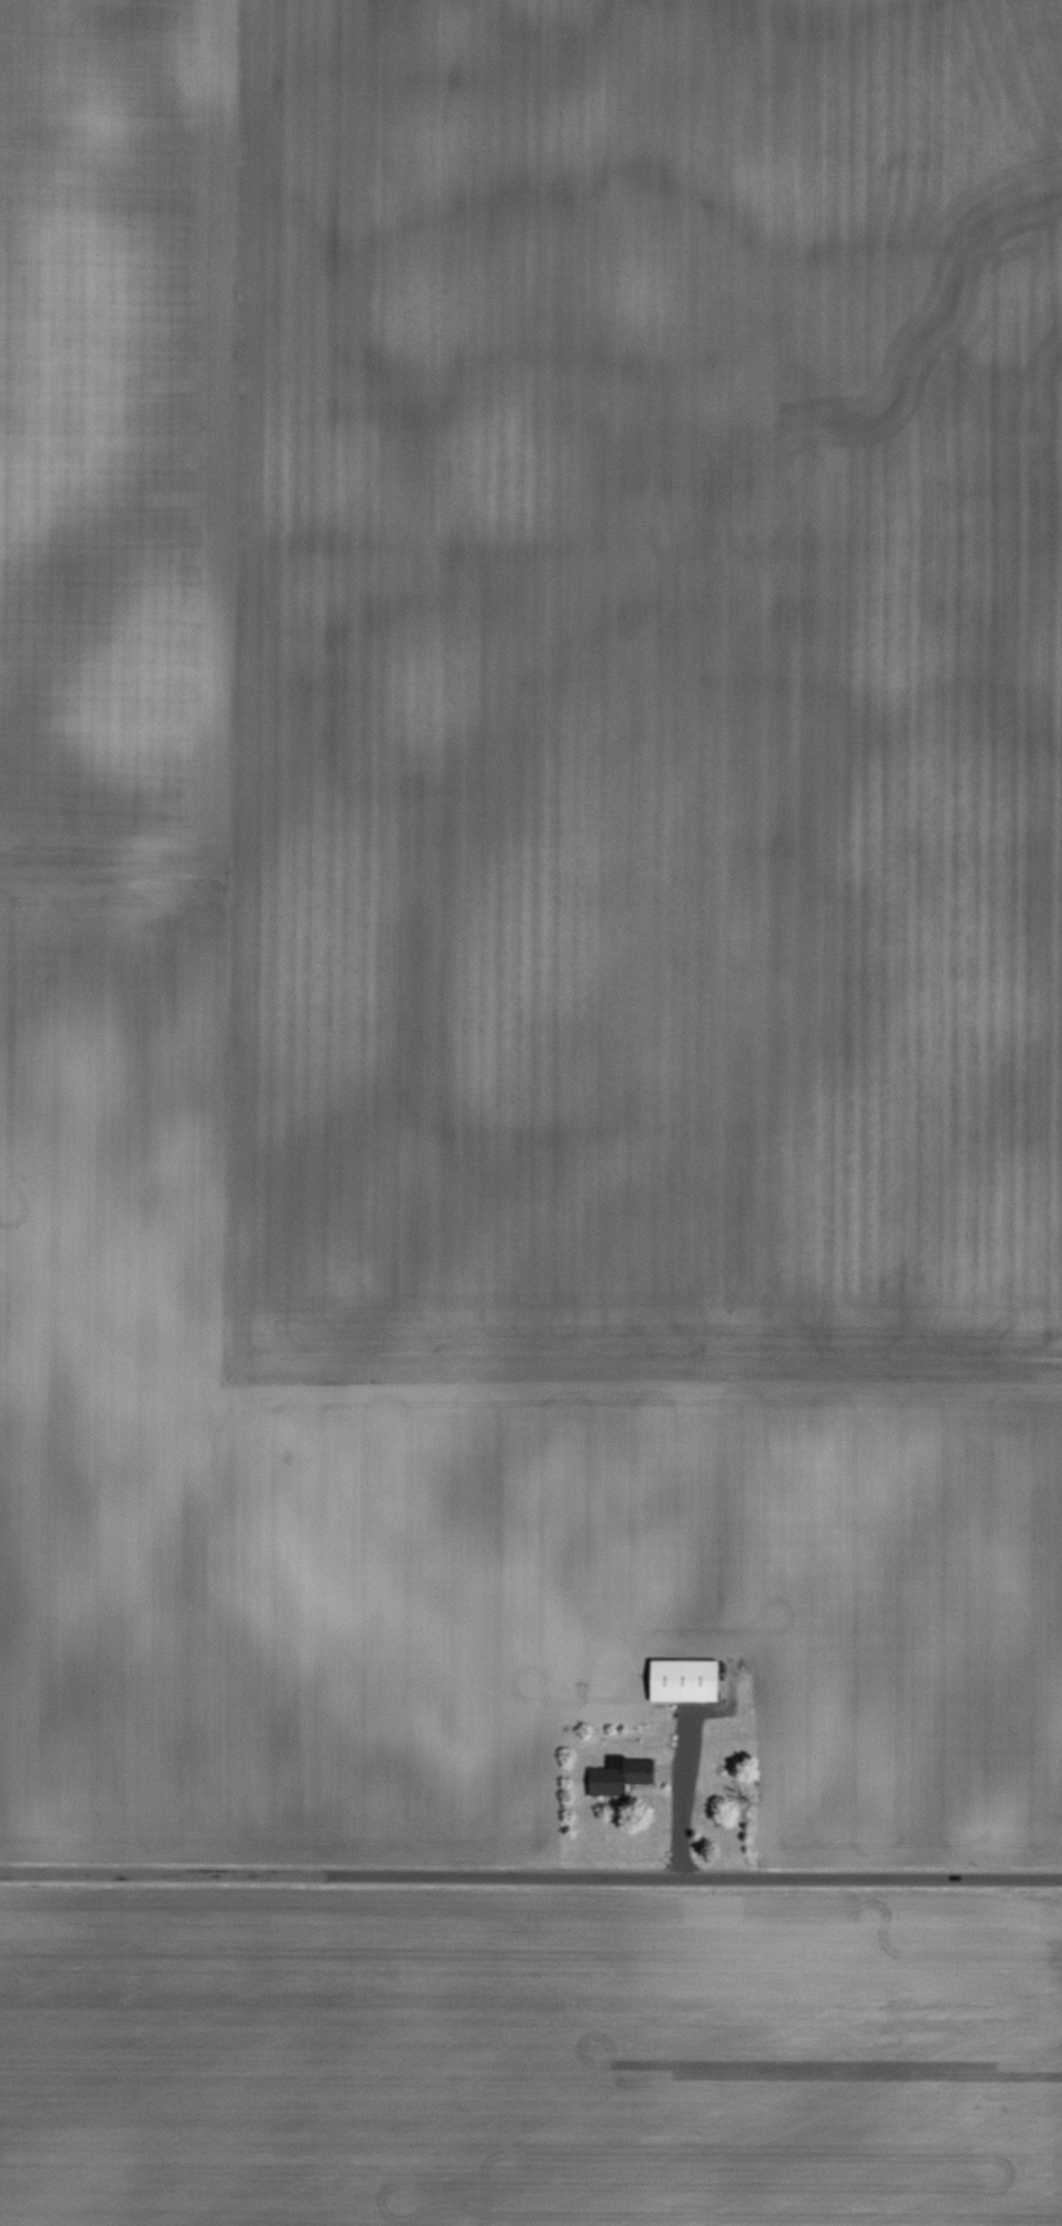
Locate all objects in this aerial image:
road: (679, 1795)
road: (530, 1872)

